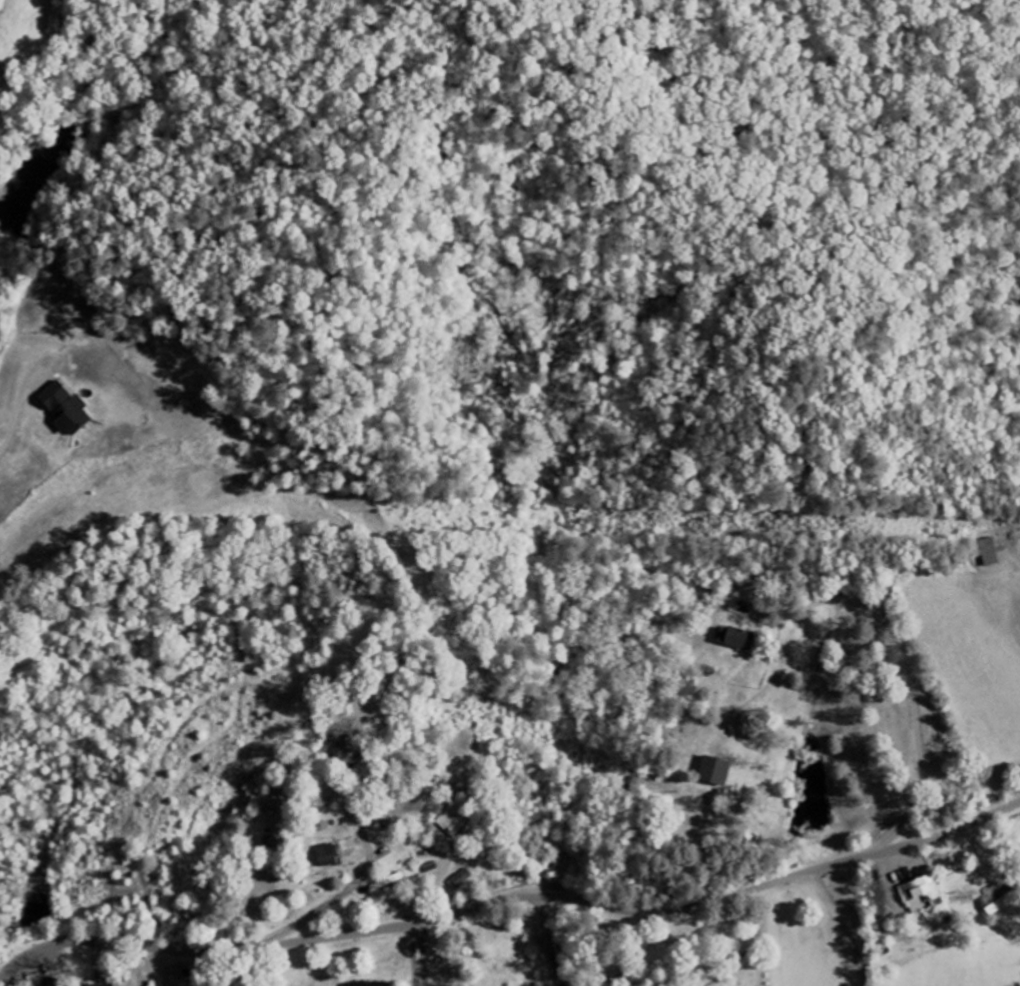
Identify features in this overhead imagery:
building: (66, 410)
road: (14, 419)
building: (989, 552)
road: (773, 591)
building: (733, 638)
road: (914, 702)
building: (715, 772)
building: (327, 856)
building: (461, 880)
road: (559, 883)
road: (353, 887)
building: (922, 895)
road: (509, 900)
road: (957, 910)
road: (767, 937)
road: (548, 942)
road: (423, 955)
road: (412, 957)
building: (373, 984)
building: (109, 985)

